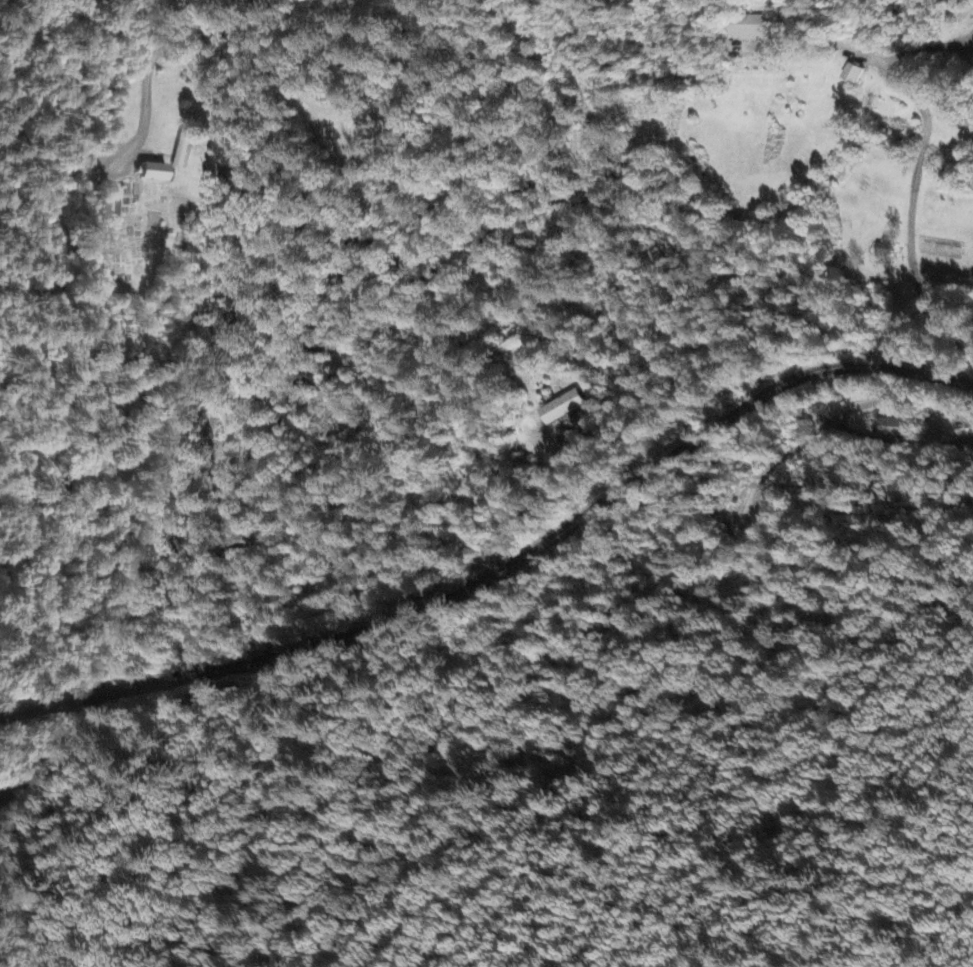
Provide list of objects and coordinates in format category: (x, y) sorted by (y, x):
road: (169, 22)
building: (748, 29)
building: (851, 75)
building: (151, 168)
park: (144, 232)
road: (220, 351)
building: (561, 409)
building: (891, 429)
road: (586, 515)
road: (95, 692)

